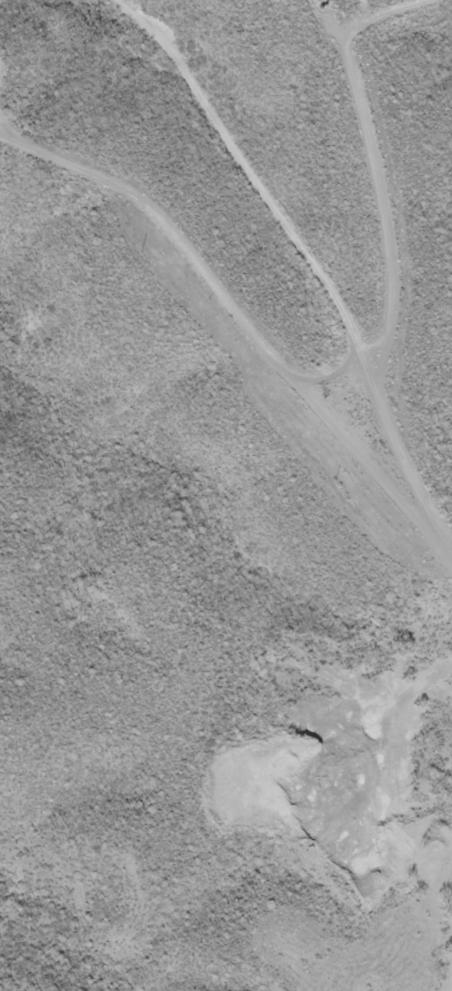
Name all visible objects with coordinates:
road: (312, 262)
road: (228, 299)
road: (335, 380)

